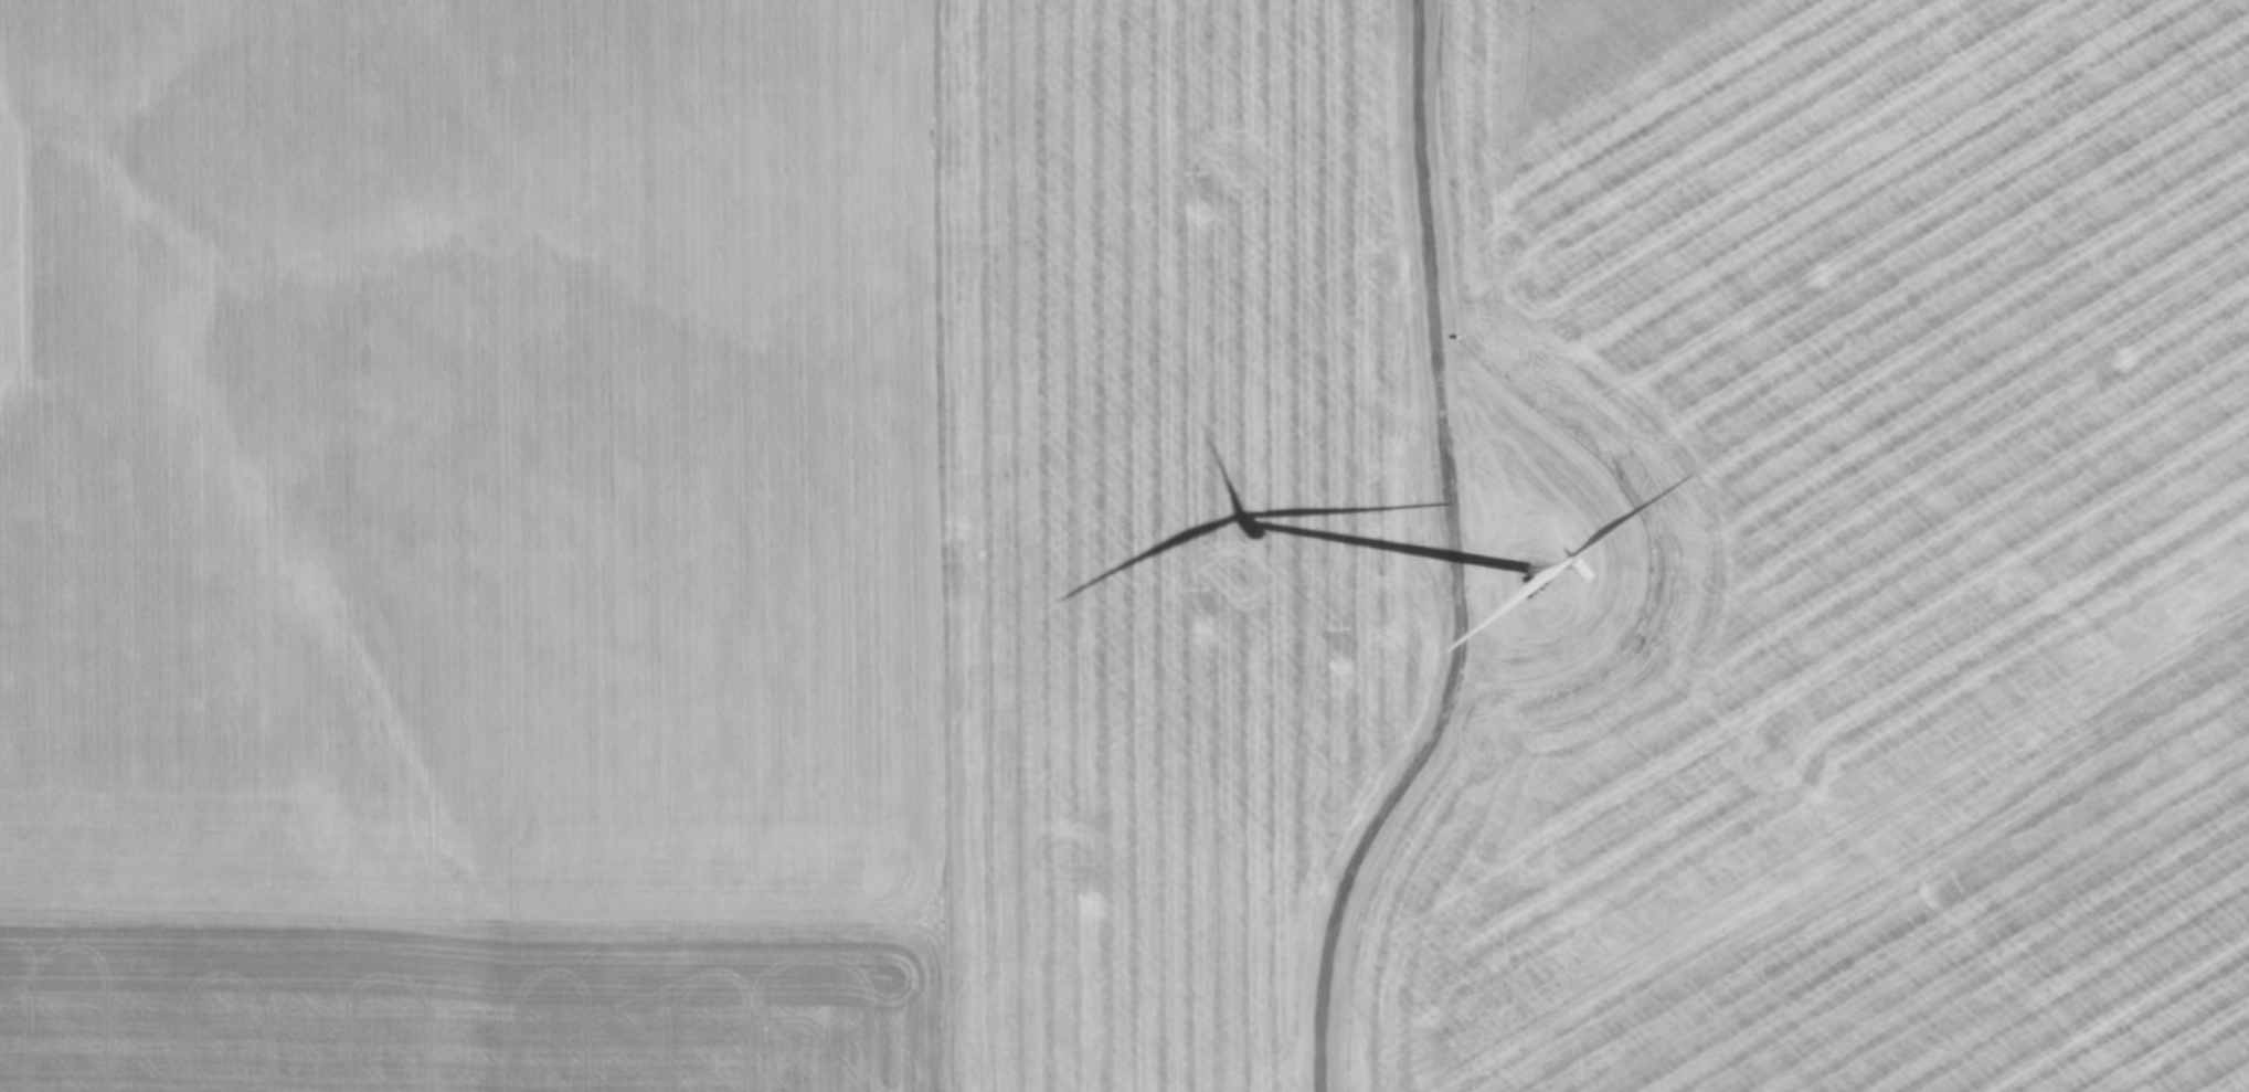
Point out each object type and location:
wind turbine: (1537, 566)

